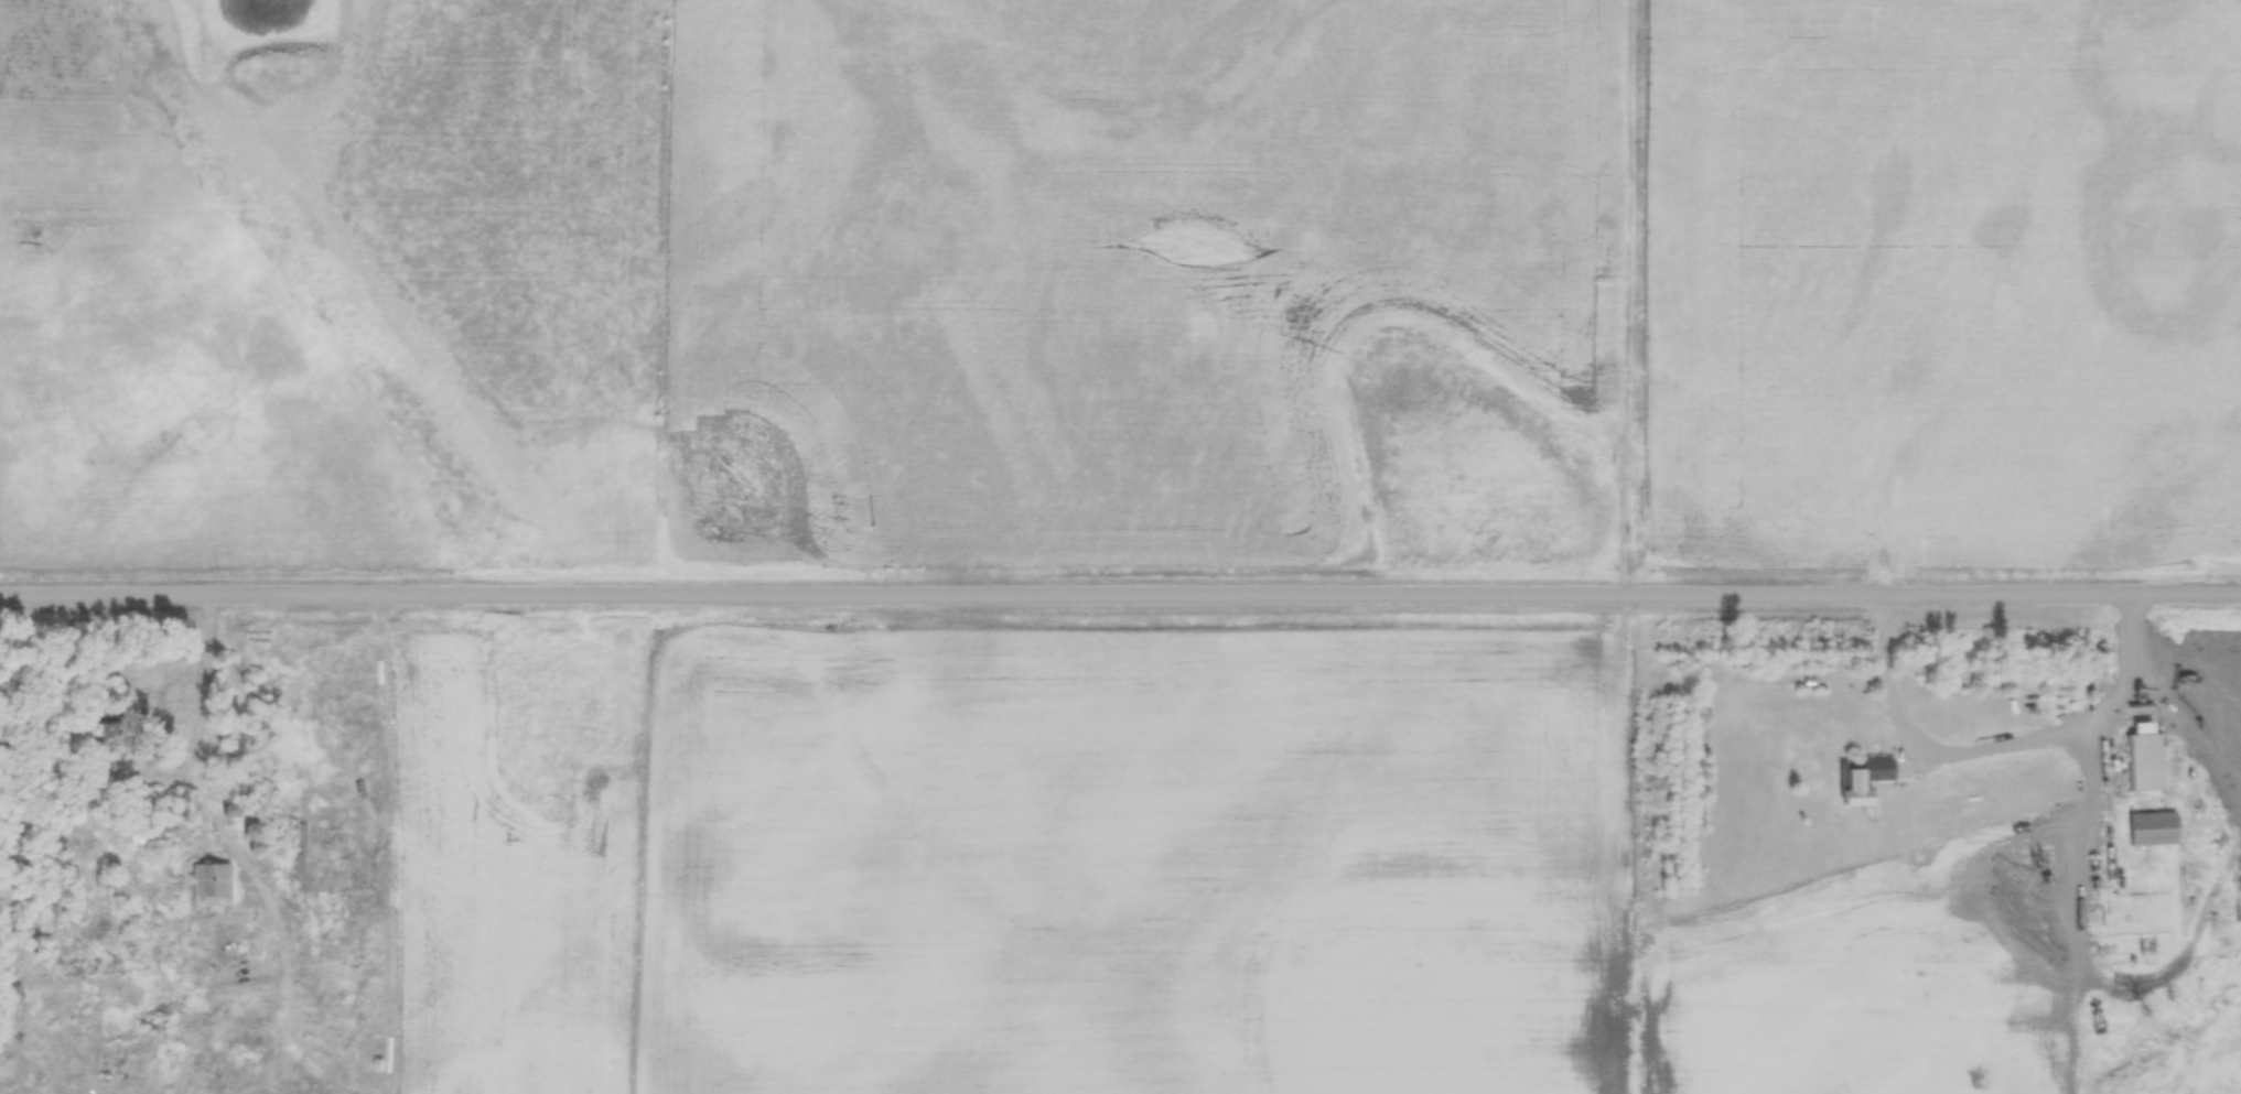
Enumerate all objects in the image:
road: (1120, 593)
road: (2001, 747)
building: (2142, 758)
building: (1860, 778)
building: (2147, 828)
building: (155, 833)
building: (213, 886)

